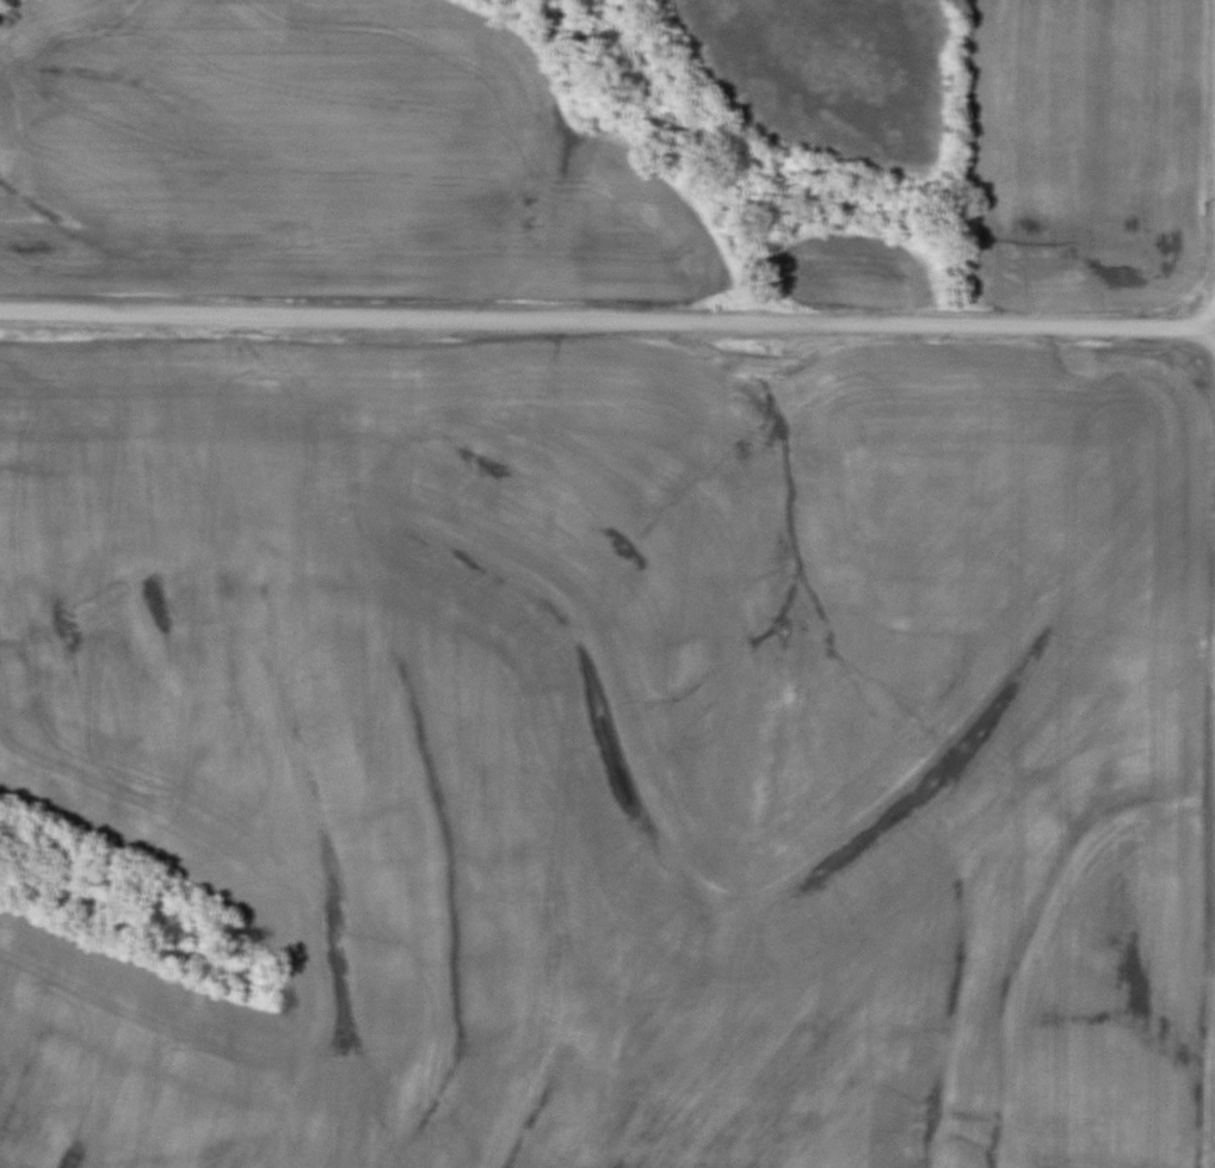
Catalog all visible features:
road: (607, 315)

